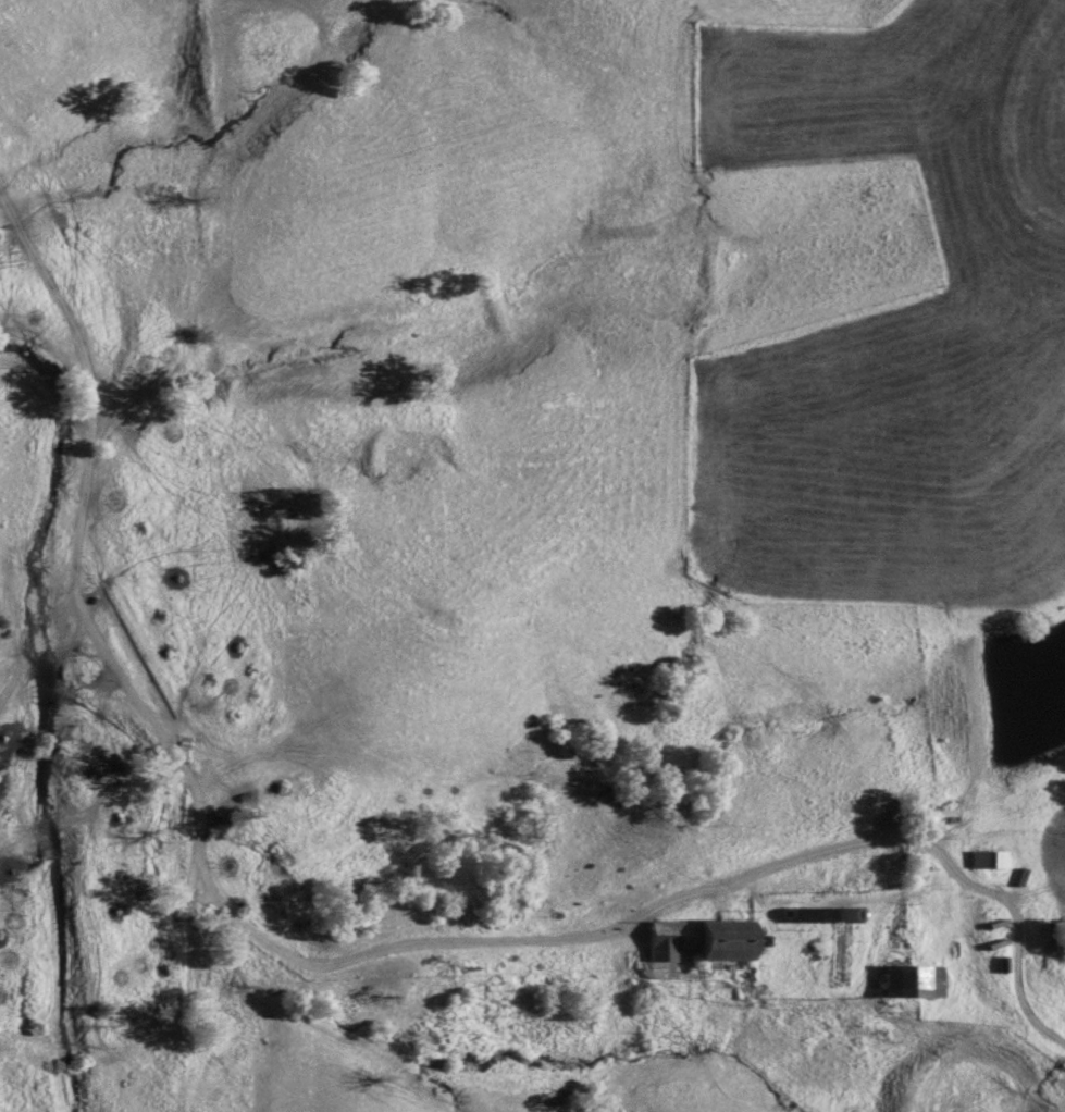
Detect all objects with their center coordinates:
road: (904, 835)
building: (990, 857)
building: (729, 939)

